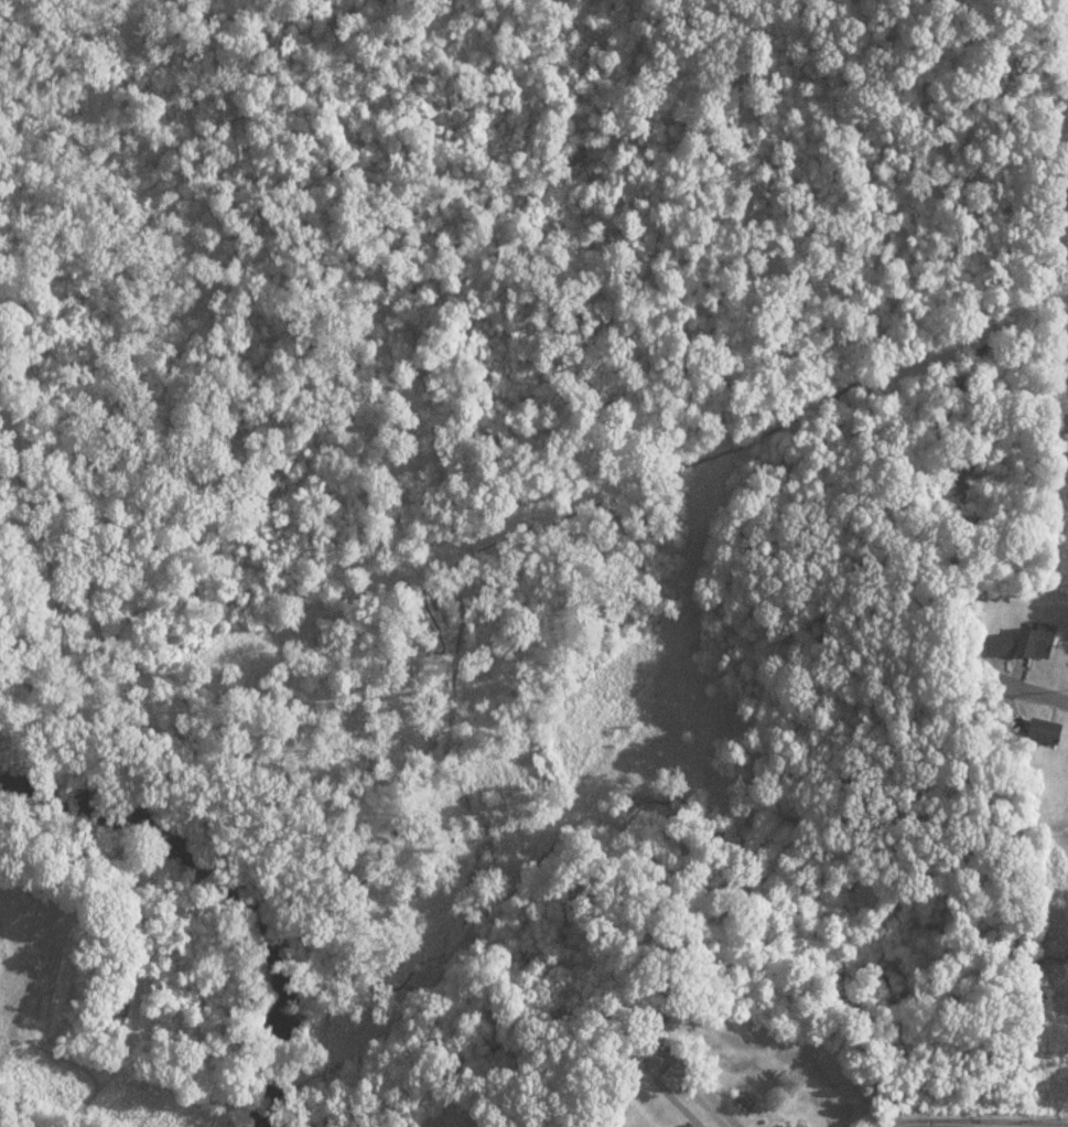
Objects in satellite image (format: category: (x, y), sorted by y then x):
building: (1040, 642)
building: (1001, 647)
road: (1054, 688)
road: (974, 1120)
building: (700, 1125)

